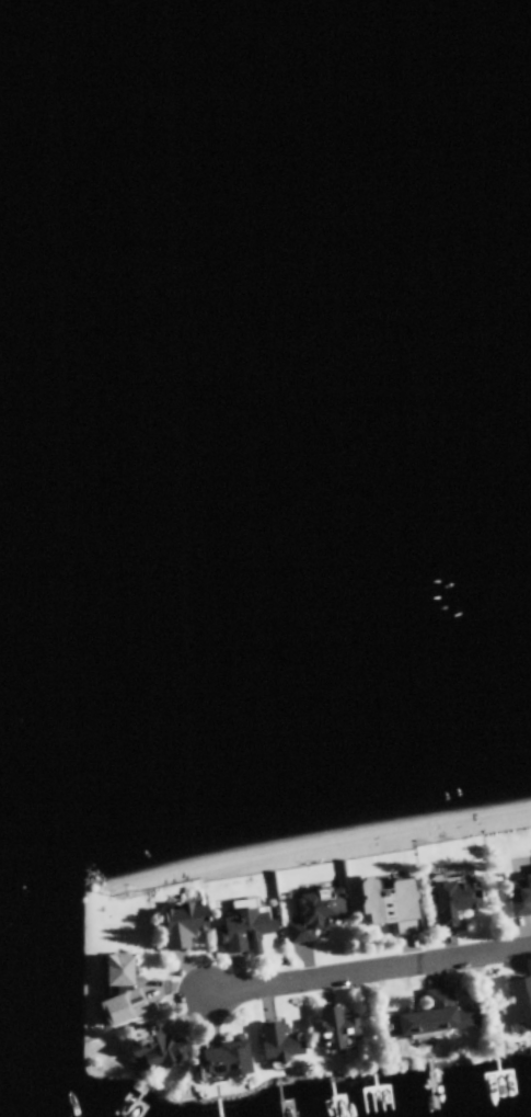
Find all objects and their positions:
building: (520, 899)
building: (454, 902)
building: (386, 908)
building: (319, 916)
building: (184, 928)
building: (265, 934)
road: (367, 973)
building: (122, 994)
building: (519, 1012)
building: (440, 1019)
building: (336, 1033)
building: (280, 1046)
building: (158, 1051)
building: (226, 1064)

